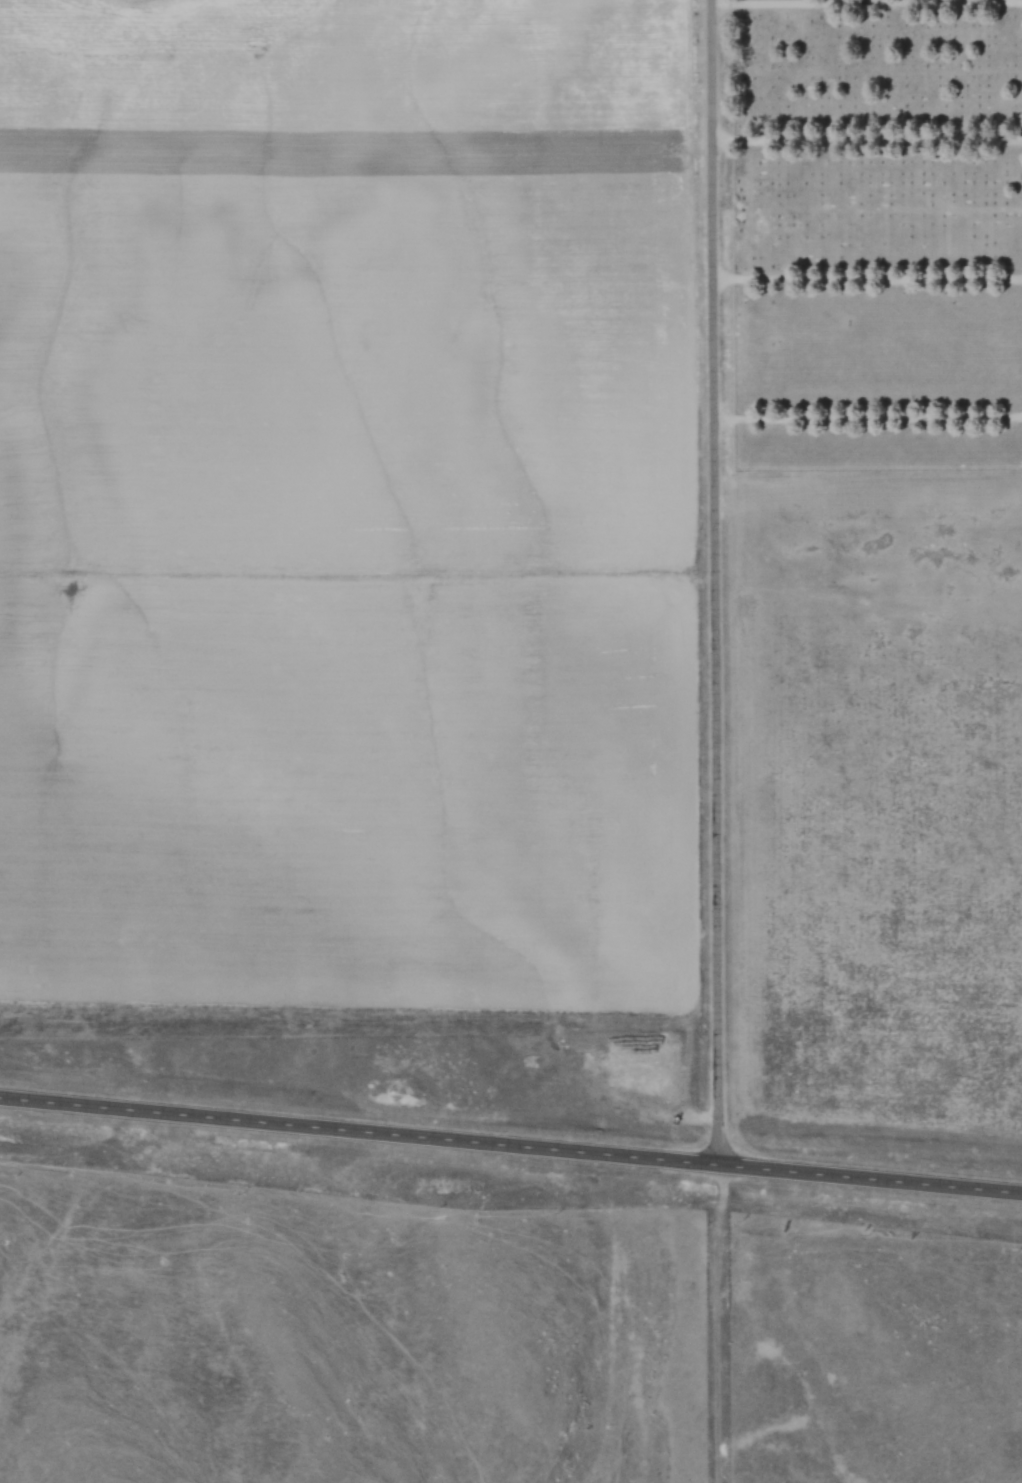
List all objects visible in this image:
road: (867, 0)
road: (868, 133)
road: (869, 278)
road: (869, 419)
crop: (350, 502)
road: (716, 584)
crop: (879, 856)
road: (510, 1148)

